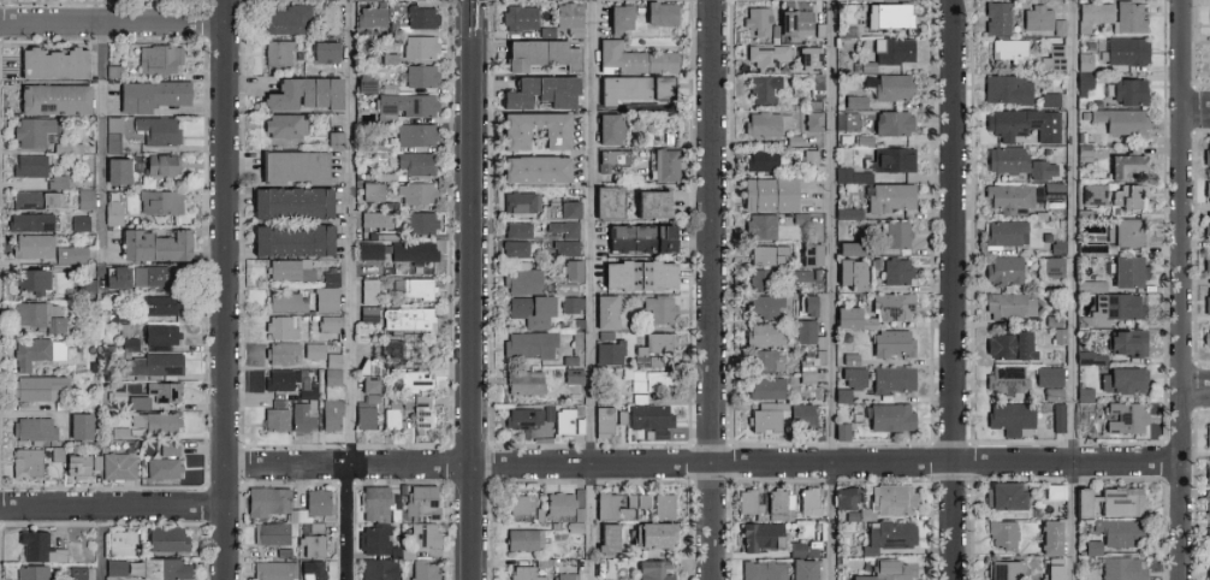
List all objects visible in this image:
road: (469, 1)
building: (659, 12)
building: (891, 13)
building: (617, 14)
building: (369, 16)
building: (421, 16)
building: (517, 16)
building: (1092, 16)
building: (1128, 16)
building: (569, 17)
building: (996, 17)
building: (1037, 17)
building: (1209, 17)
building: (330, 18)
building: (286, 19)
building: (777, 20)
road: (113, 23)
building: (1058, 26)
building: (417, 46)
building: (1008, 47)
building: (894, 49)
building: (1126, 49)
building: (324, 51)
building: (277, 52)
building: (538, 53)
building: (630, 54)
building: (765, 57)
building: (159, 58)
building: (807, 58)
building: (1052, 58)
building: (49, 61)
building: (1084, 61)
building: (1209, 64)
building: (420, 75)
building: (1083, 83)
building: (363, 84)
building: (891, 85)
building: (633, 87)
building: (764, 88)
building: (1006, 88)
building: (539, 90)
building: (1126, 90)
building: (302, 91)
building: (150, 94)
building: (51, 97)
building: (1049, 99)
building: (854, 101)
building: (404, 105)
road: (1193, 108)
building: (813, 119)
building: (846, 120)
building: (1120, 120)
building: (765, 122)
building: (891, 122)
building: (1022, 123)
building: (284, 125)
building: (607, 128)
building: (156, 129)
building: (30, 130)
building: (415, 134)
building: (511, 136)
building: (334, 138)
building: (111, 141)
road: (100, 142)
building: (892, 158)
building: (613, 159)
building: (1004, 159)
building: (1206, 159)
building: (763, 160)
building: (809, 160)
building: (415, 162)
building: (161, 164)
building: (664, 164)
building: (1123, 164)
building: (292, 165)
building: (533, 167)
building: (1042, 168)
building: (29, 170)
building: (115, 170)
building: (850, 174)
building: (57, 180)
building: (372, 190)
building: (416, 191)
building: (766, 193)
building: (1093, 194)
building: (1208, 194)
building: (1020, 195)
building: (889, 196)
building: (1127, 196)
building: (35, 199)
building: (84, 199)
building: (159, 201)
building: (520, 201)
building: (605, 201)
building: (289, 202)
building: (648, 202)
building: (559, 208)
building: (111, 212)
building: (848, 212)
building: (375, 218)
building: (28, 220)
building: (78, 221)
building: (420, 221)
building: (760, 225)
building: (1208, 226)
building: (516, 230)
building: (560, 230)
road: (350, 231)
building: (1006, 232)
building: (1128, 232)
building: (896, 233)
building: (637, 237)
building: (290, 239)
building: (31, 244)
building: (154, 244)
building: (564, 247)
building: (514, 248)
building: (847, 248)
building: (368, 250)
building: (411, 250)
building: (808, 253)
building: (69, 254)
building: (767, 254)
building: (1051, 266)
building: (1208, 266)
building: (1003, 268)
building: (290, 270)
building: (573, 270)
building: (1126, 270)
building: (896, 271)
building: (849, 272)
building: (636, 274)
building: (797, 274)
building: (115, 276)
building: (152, 276)
building: (30, 279)
building: (760, 279)
building: (522, 280)
building: (89, 285)
building: (1092, 285)
building: (411, 286)
road: (592, 289)
road: (1178, 289)
road: (227, 290)
building: (367, 290)
road: (474, 290)
road: (714, 290)
road: (829, 290)
road: (955, 290)
road: (1072, 290)
building: (324, 298)
building: (286, 301)
building: (160, 304)
building: (571, 304)
building: (806, 304)
building: (1010, 304)
building: (764, 306)
building: (891, 306)
building: (1115, 307)
building: (1208, 308)
building: (658, 309)
building: (530, 310)
building: (367, 312)
building: (605, 312)
building: (38, 315)
building: (847, 316)
building: (405, 318)
building: (280, 326)
building: (328, 326)
building: (805, 331)
building: (159, 333)
building: (765, 335)
building: (1208, 341)
building: (659, 342)
building: (890, 342)
building: (1126, 342)
building: (529, 343)
building: (130, 344)
building: (1007, 344)
building: (390, 347)
building: (313, 350)
building: (609, 350)
building: (35, 351)
building: (281, 353)
building: (1090, 357)
building: (846, 359)
building: (763, 360)
building: (654, 361)
building: (150, 363)
building: (809, 365)
building: (569, 374)
building: (1048, 375)
building: (332, 377)
building: (853, 377)
building: (280, 378)
building: (891, 378)
building: (1007, 378)
building: (414, 379)
building: (652, 380)
building: (523, 383)
building: (36, 385)
building: (367, 385)
building: (765, 387)
road: (1193, 387)
building: (164, 391)
building: (307, 392)
building: (1052, 392)
building: (1084, 392)
building: (842, 395)
building: (137, 402)
building: (366, 409)
building: (395, 410)
building: (422, 413)
building: (330, 414)
building: (302, 415)
building: (650, 415)
building: (274, 416)
building: (622, 416)
building: (781, 416)
building: (889, 416)
building: (1057, 416)
building: (1123, 416)
building: (1010, 418)
building: (1081, 418)
building: (528, 419)
building: (603, 419)
building: (155, 421)
building: (567, 421)
building: (78, 425)
building: (32, 427)
building: (1209, 427)
building: (841, 431)
building: (119, 432)
building: (168, 448)
building: (55, 452)
building: (24, 461)
road: (702, 463)
building: (75, 464)
building: (113, 464)
building: (164, 467)
building: (1208, 473)
building: (1054, 491)
building: (1003, 495)
building: (577, 497)
building: (846, 497)
building: (374, 501)
building: (421, 501)
building: (636, 501)
building: (808, 501)
building: (888, 501)
building: (1120, 501)
building: (1080, 502)
building: (558, 503)
building: (749, 503)
building: (269, 504)
building: (520, 504)
building: (779, 504)
building: (660, 505)
road: (113, 507)
building: (1208, 509)
road: (350, 521)
building: (574, 526)
building: (1117, 532)
building: (271, 533)
building: (1002, 533)
building: (423, 534)
building: (651, 534)
building: (759, 535)
building: (889, 535)
building: (607, 537)
building: (1049, 537)
building: (166, 538)
building: (523, 539)
building: (376, 540)
road: (100, 543)
building: (121, 543)
building: (312, 545)
building: (37, 546)
building: (1092, 546)
building: (797, 548)
building: (1209, 552)
building: (114, 567)
building: (1122, 568)
building: (315, 569)
building: (379, 569)
building: (802, 569)
building: (1004, 569)
building: (274, 570)
building: (652, 570)
building: (764, 570)
building: (886, 570)
building: (30, 572)
building: (1051, 572)
building: (1209, 572)
building: (76, 573)
building: (523, 573)
building: (565, 575)

